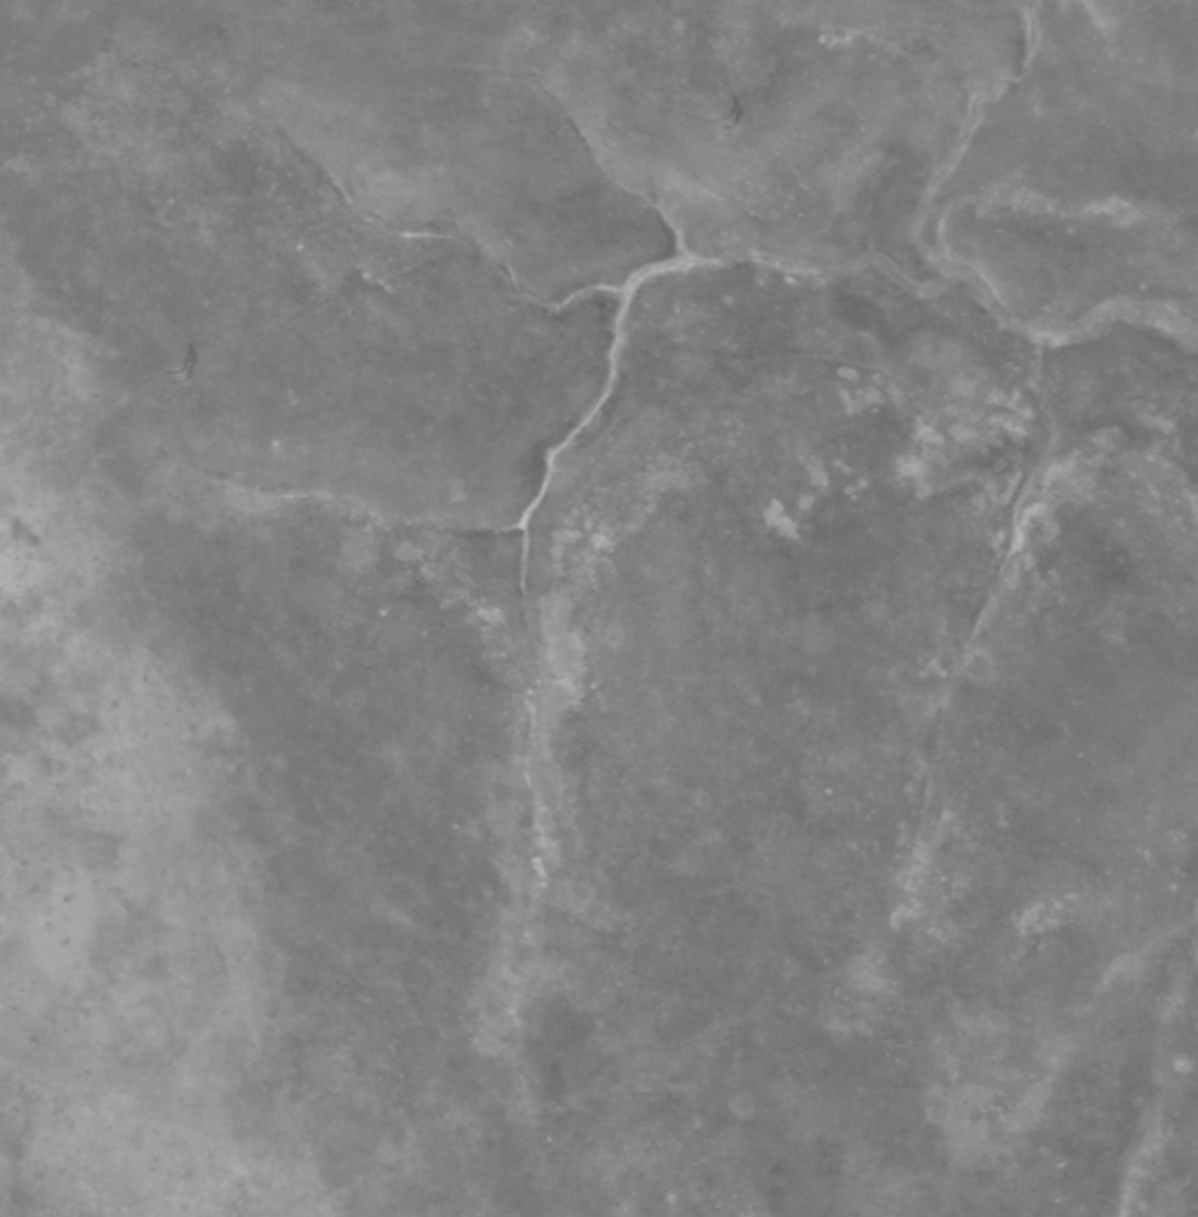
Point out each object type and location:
power tower: (717, 126)
power tower: (177, 377)
road: (291, 846)

